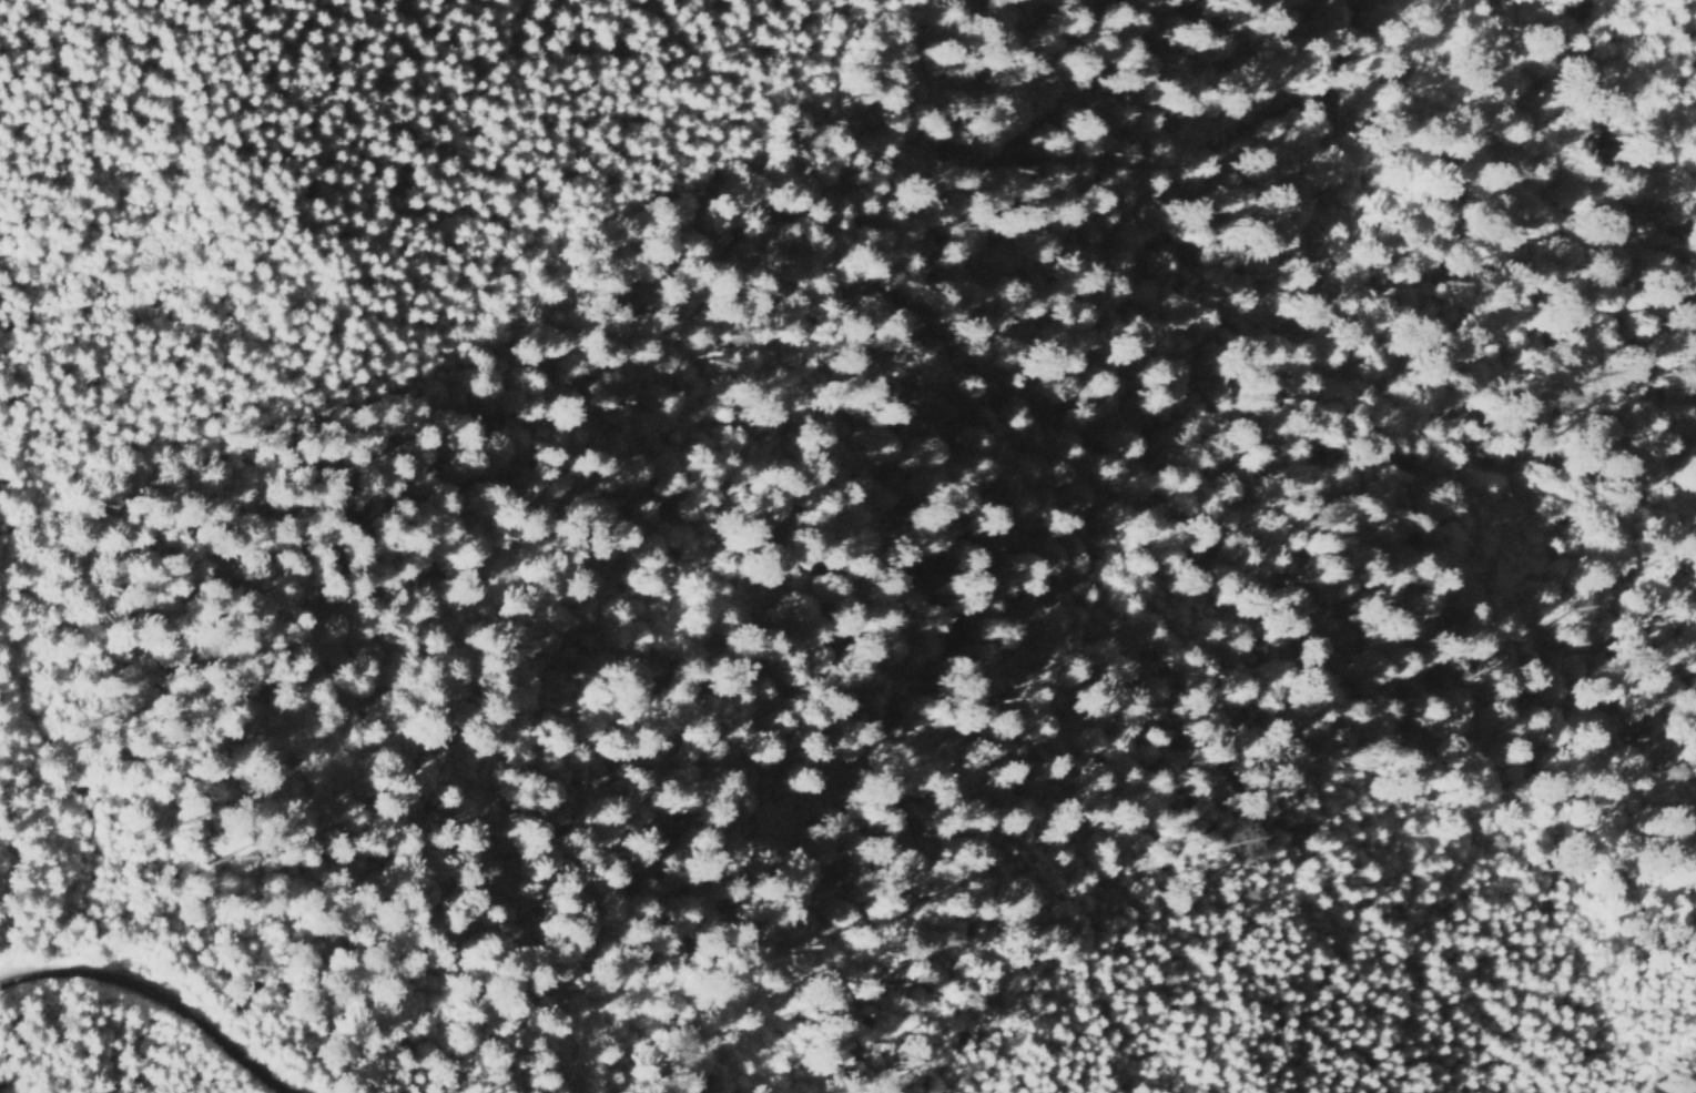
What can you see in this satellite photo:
road: (158, 999)

